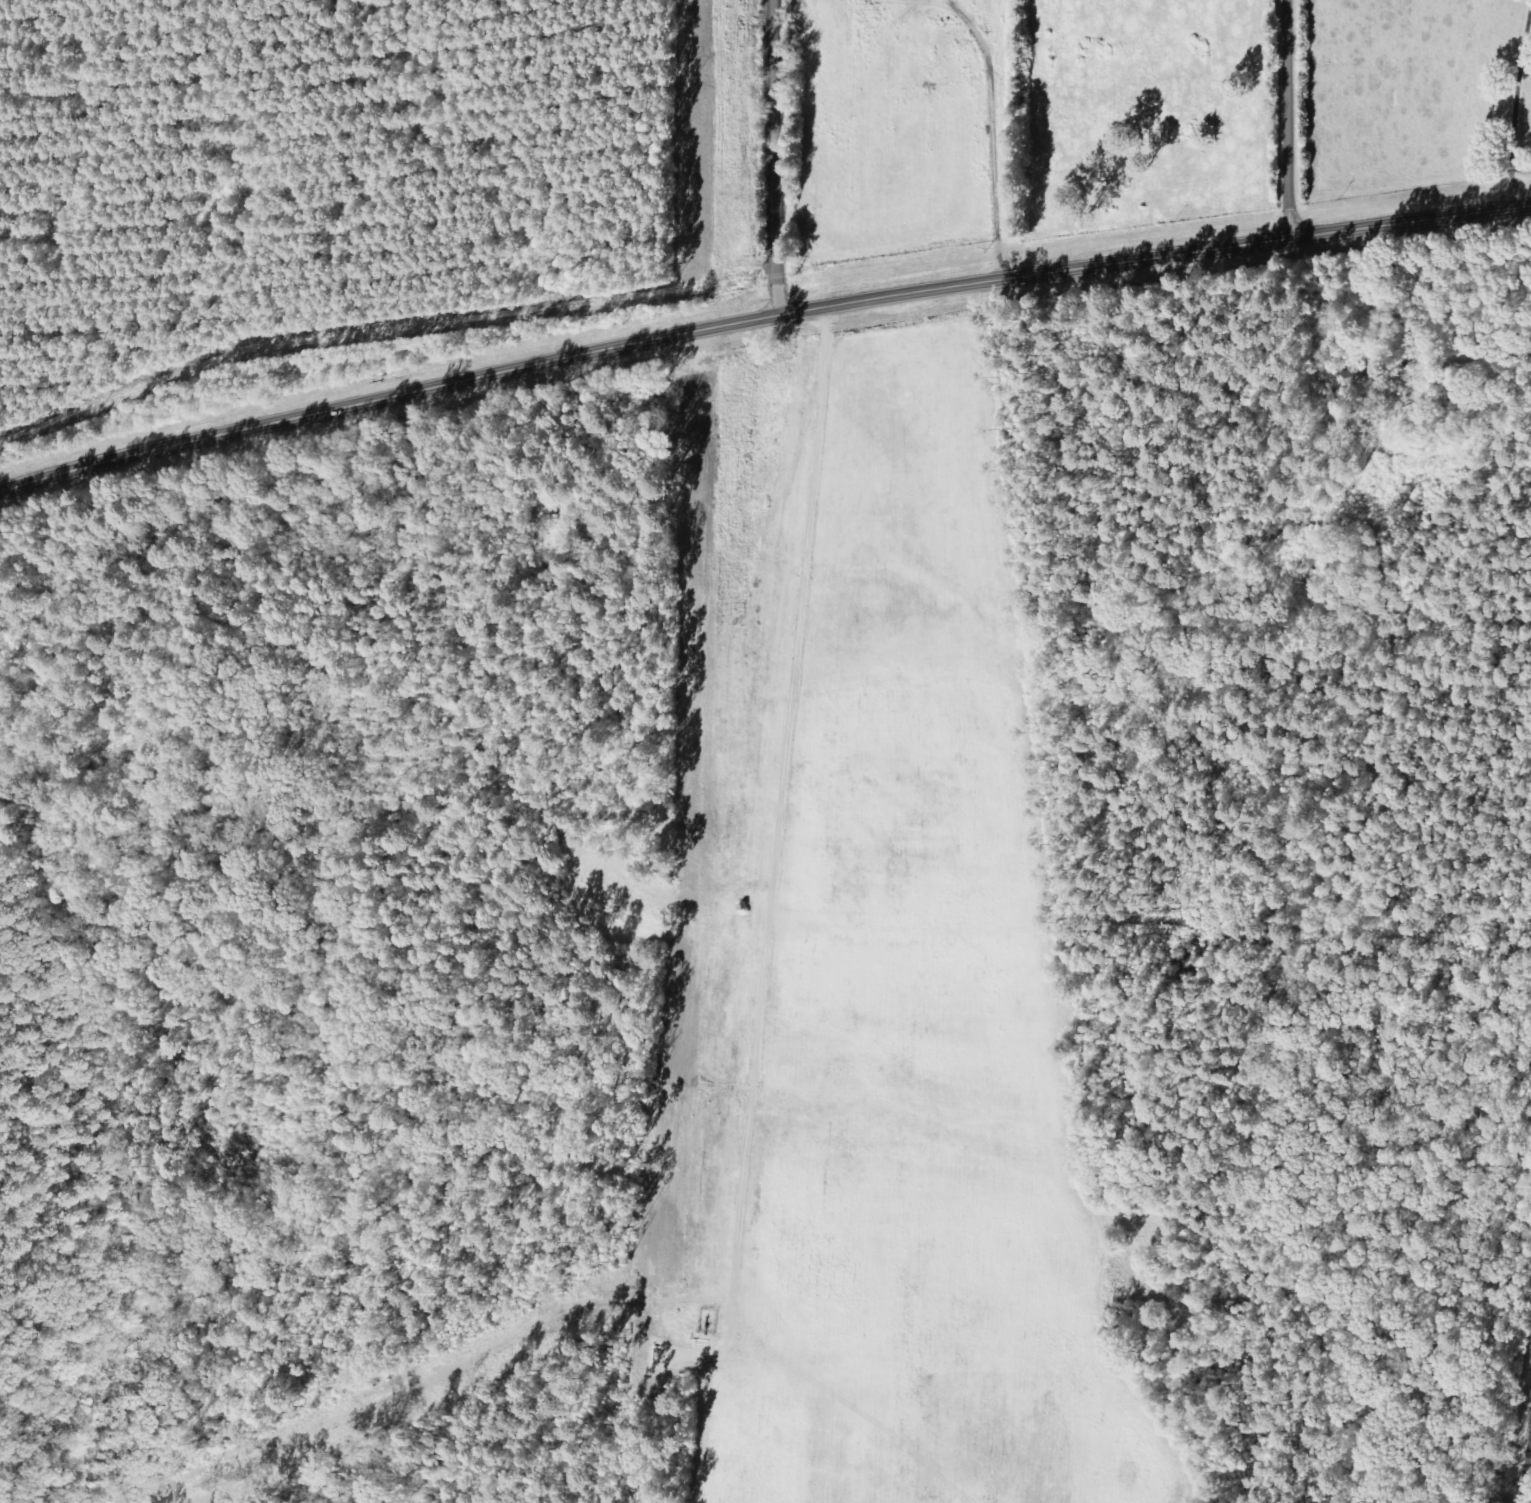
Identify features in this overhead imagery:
road: (1294, 117)
road: (779, 161)
road: (761, 326)
road: (1524, 1466)

